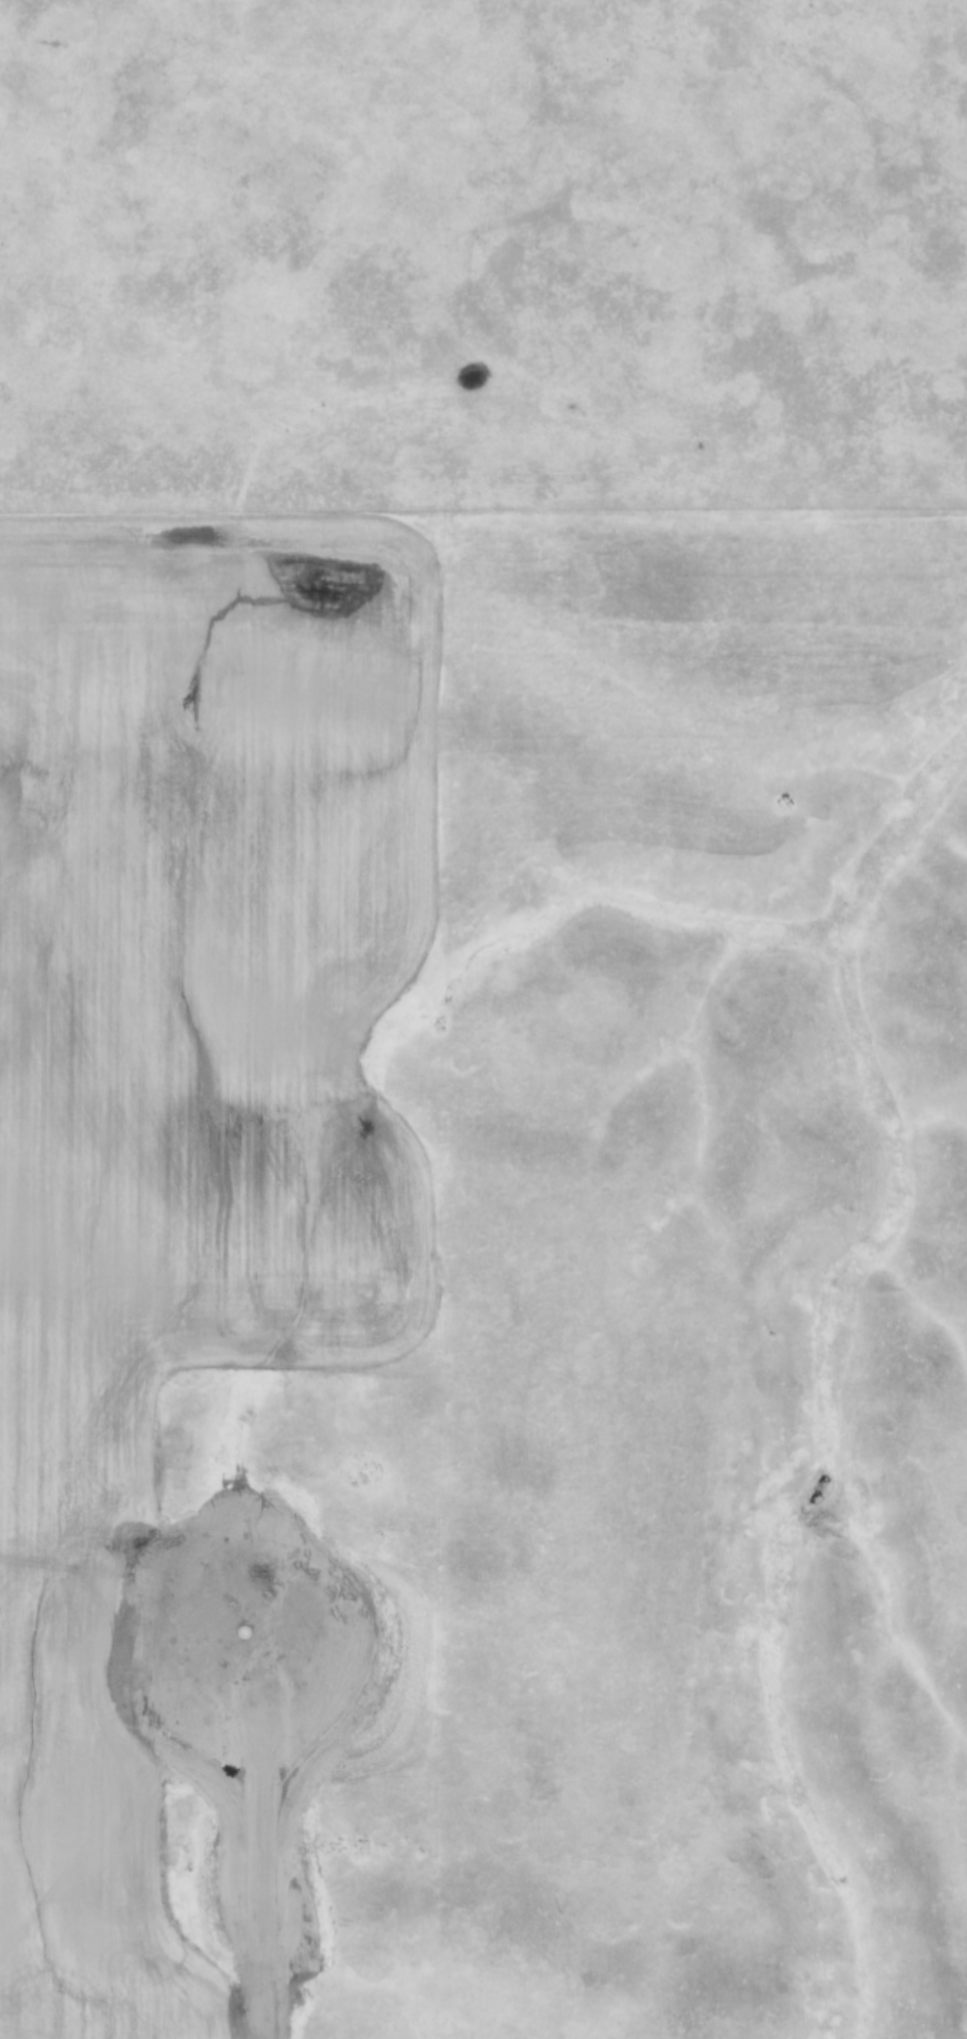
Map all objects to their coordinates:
wind turbine: (242, 1629)

